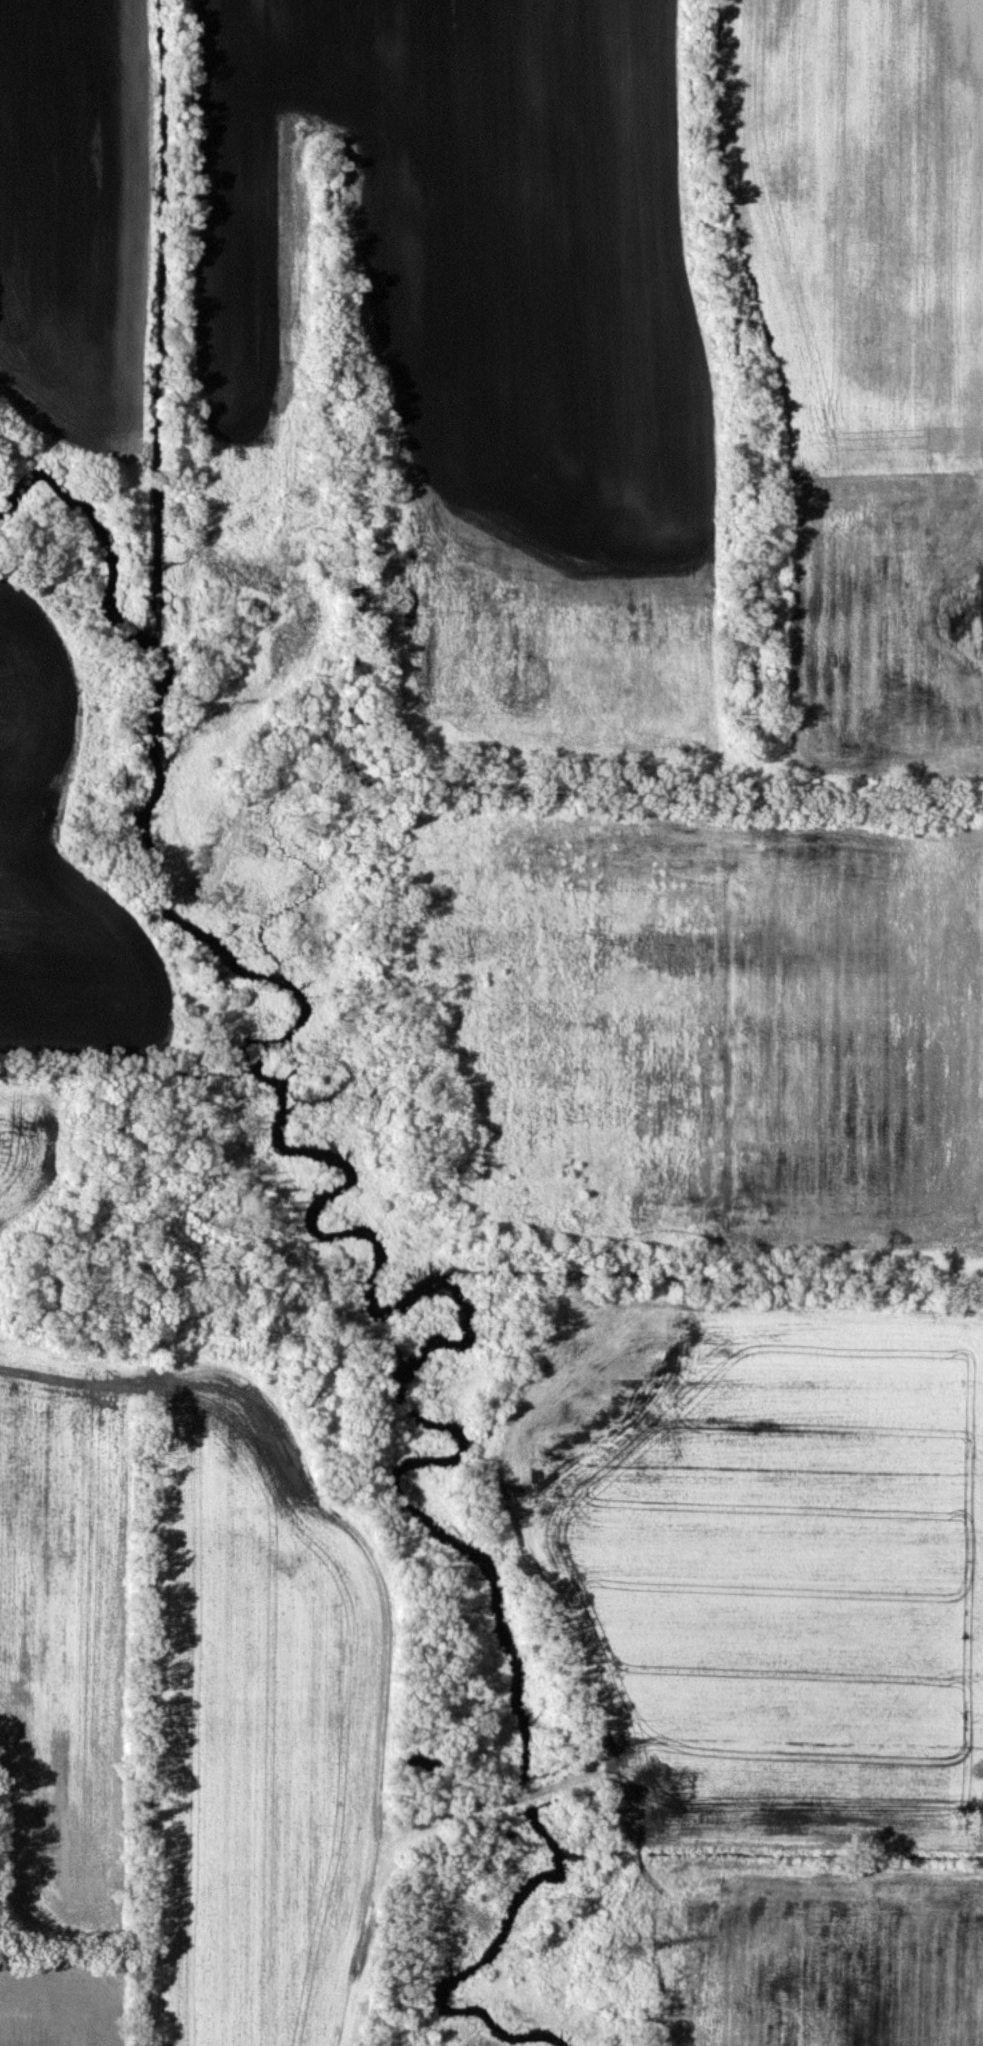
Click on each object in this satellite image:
power tower: (609, 1947)

